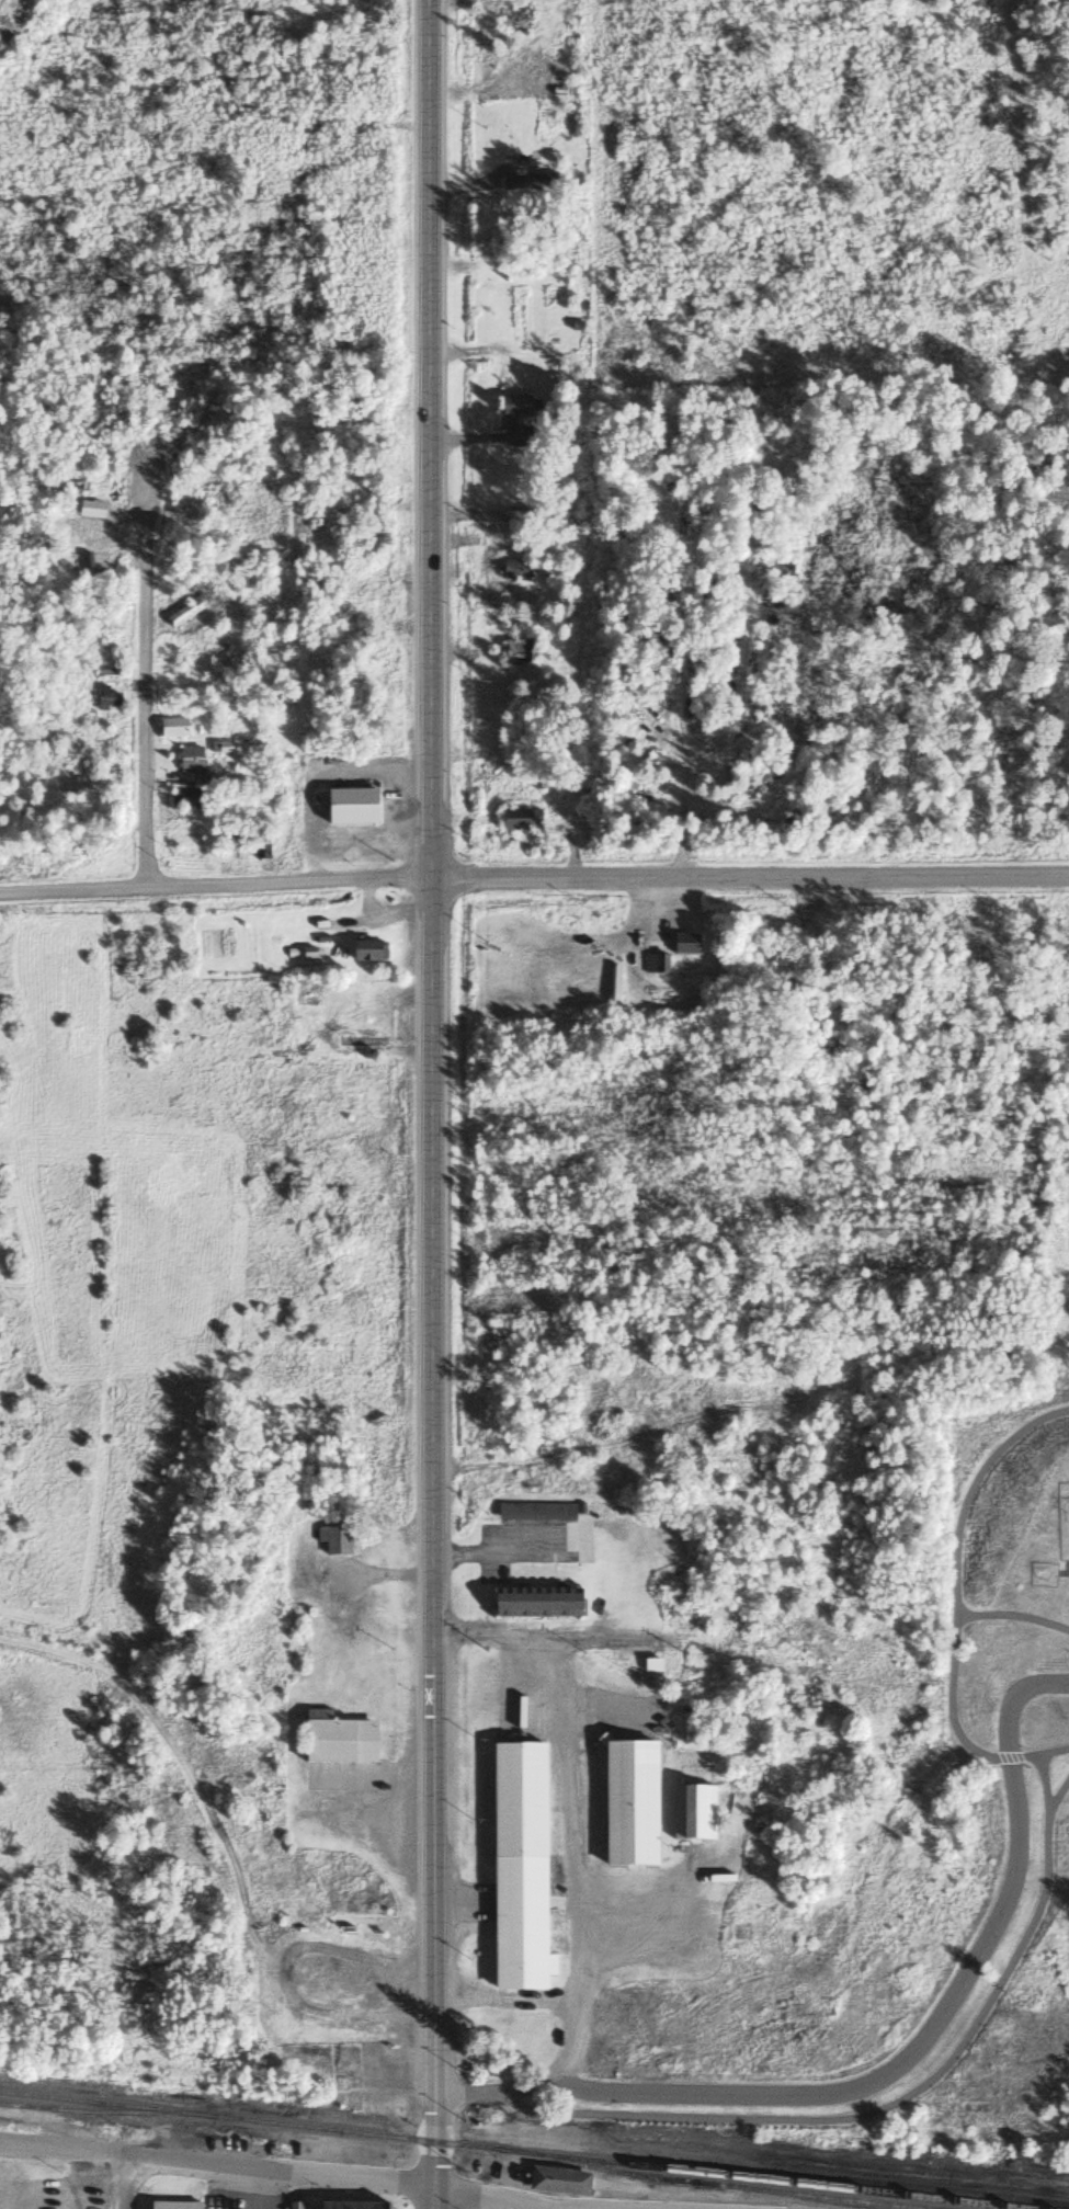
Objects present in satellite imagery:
building: (528, 183)
building: (520, 318)
building: (516, 420)
road: (429, 439)
building: (62, 487)
building: (87, 526)
building: (514, 570)
building: (186, 612)
building: (515, 651)
building: (107, 701)
road: (141, 708)
building: (172, 728)
building: (190, 760)
building: (189, 799)
building: (350, 808)
building: (520, 820)
building: (230, 840)
building: (259, 843)
road: (749, 874)
road: (215, 885)
building: (684, 945)
building: (367, 952)
building: (656, 966)
building: (367, 1024)
building: (359, 1043)
building: (535, 1513)
building: (333, 1541)
road: (437, 1542)
building: (536, 1602)
road: (771, 1713)
building: (337, 1740)
building: (629, 1804)
building: (692, 1814)
road: (580, 1848)
road: (649, 1858)
building: (519, 1869)
road: (499, 2090)
railway: (104, 2105)
railway: (103, 2113)
railway: (352, 2132)
road: (274, 2171)
railway: (754, 2179)
building: (558, 2180)
road: (123, 2183)
railway: (705, 2184)
building: (173, 2206)
building: (295, 2206)
building: (353, 2206)

